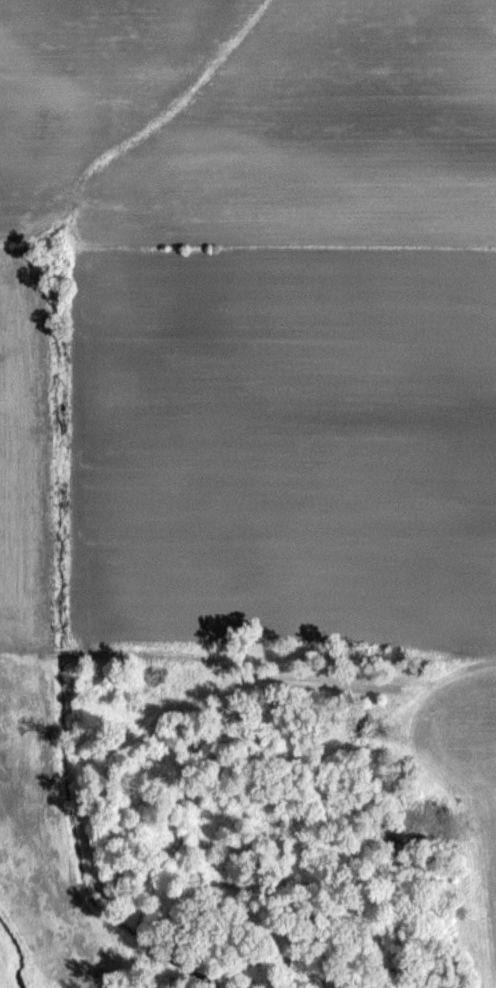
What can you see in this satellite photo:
road: (491, 684)

